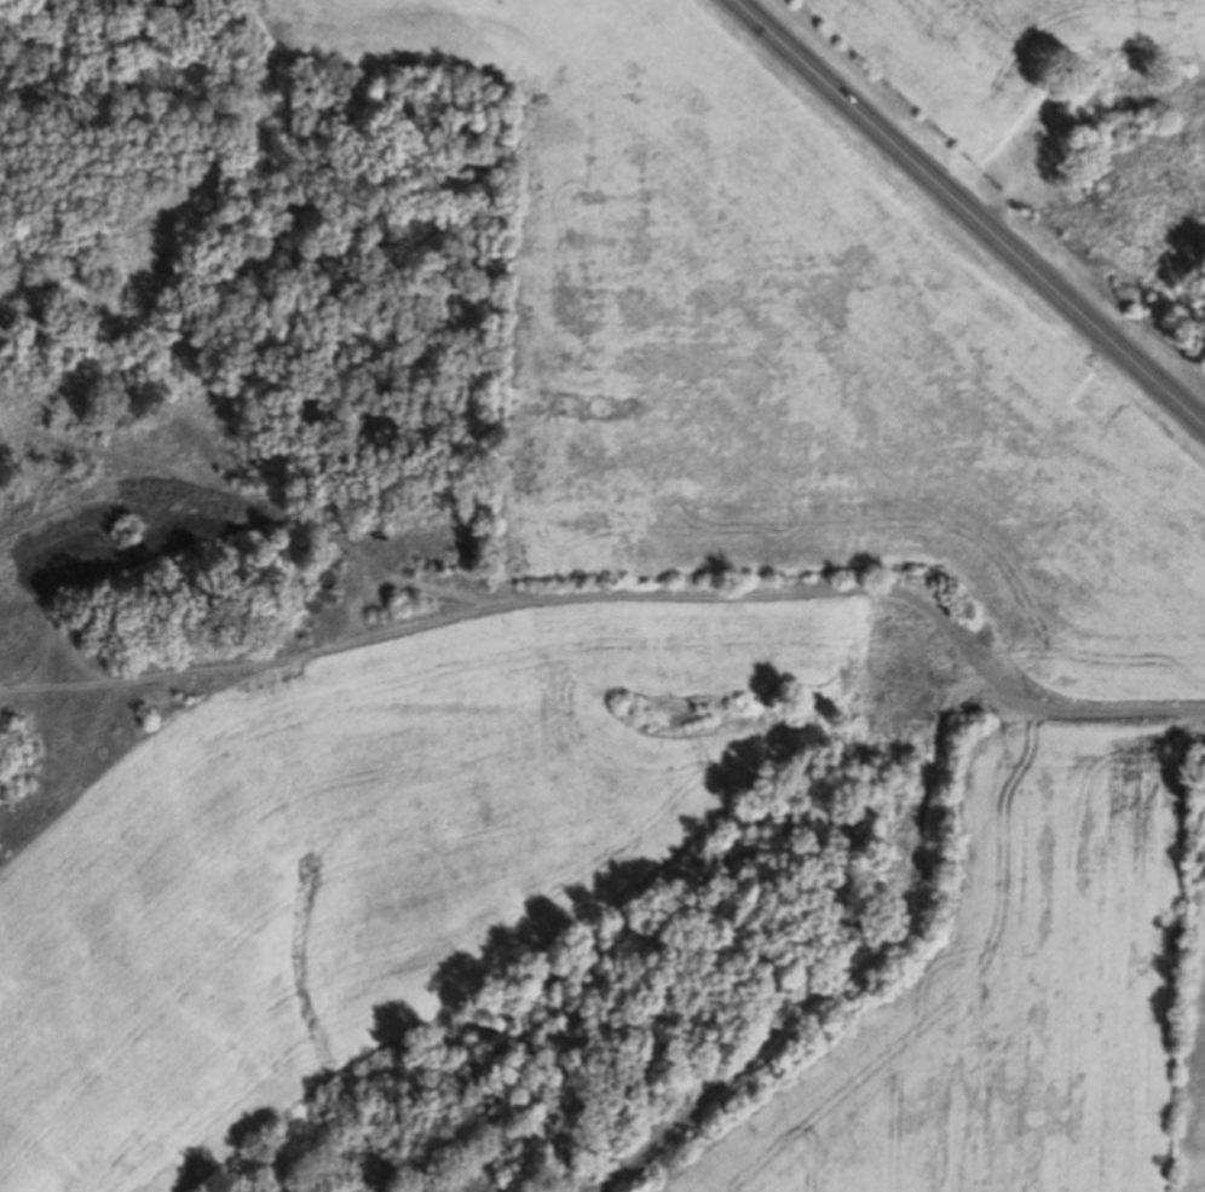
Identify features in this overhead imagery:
road: (965, 214)
building: (324, 594)
road: (1138, 702)

